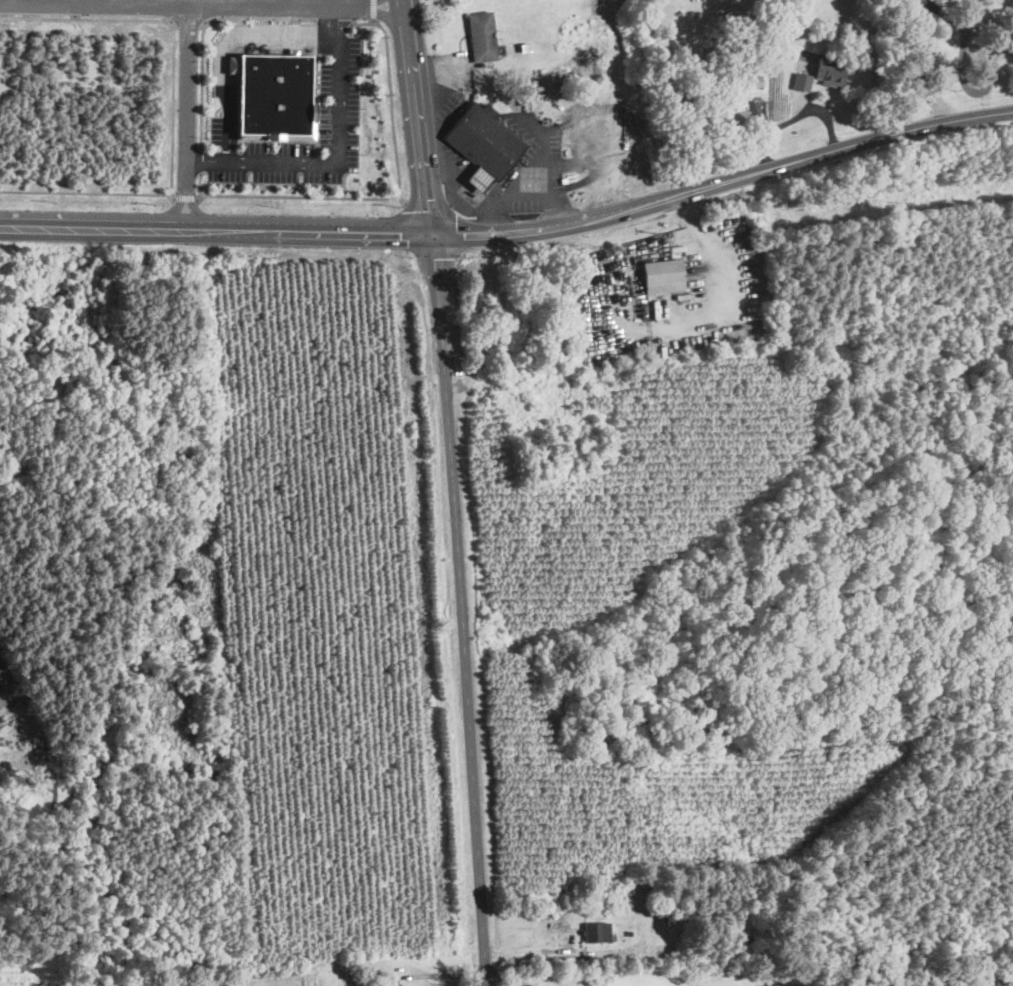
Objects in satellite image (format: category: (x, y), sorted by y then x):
road: (246, 3)
road: (201, 6)
building: (920, 8)
road: (373, 11)
road: (333, 23)
road: (171, 24)
road: (202, 31)
building: (482, 35)
road: (975, 39)
road: (222, 47)
building: (826, 72)
building: (802, 80)
building: (752, 81)
road: (467, 90)
building: (273, 95)
building: (752, 110)
road: (416, 115)
road: (187, 116)
building: (730, 120)
building: (484, 139)
road: (200, 160)
road: (341, 162)
road: (724, 180)
road: (200, 185)
road: (346, 186)
road: (452, 191)
road: (87, 193)
road: (395, 194)
road: (186, 196)
road: (521, 197)
road: (93, 224)
road: (309, 228)
traffic signals: (433, 231)
road: (723, 269)
building: (660, 275)
road: (460, 608)
building: (596, 931)
road: (497, 978)
building: (394, 982)

